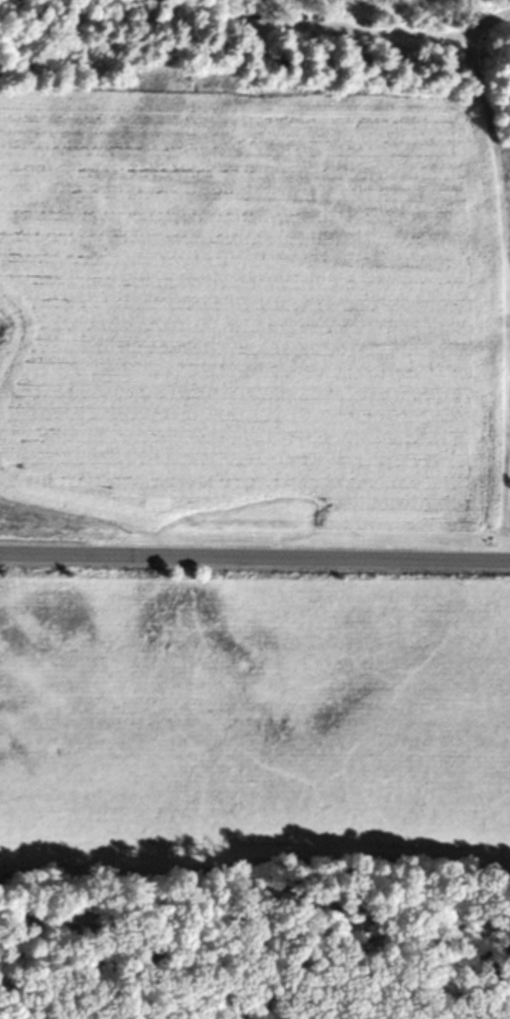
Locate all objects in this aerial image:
road: (255, 561)

